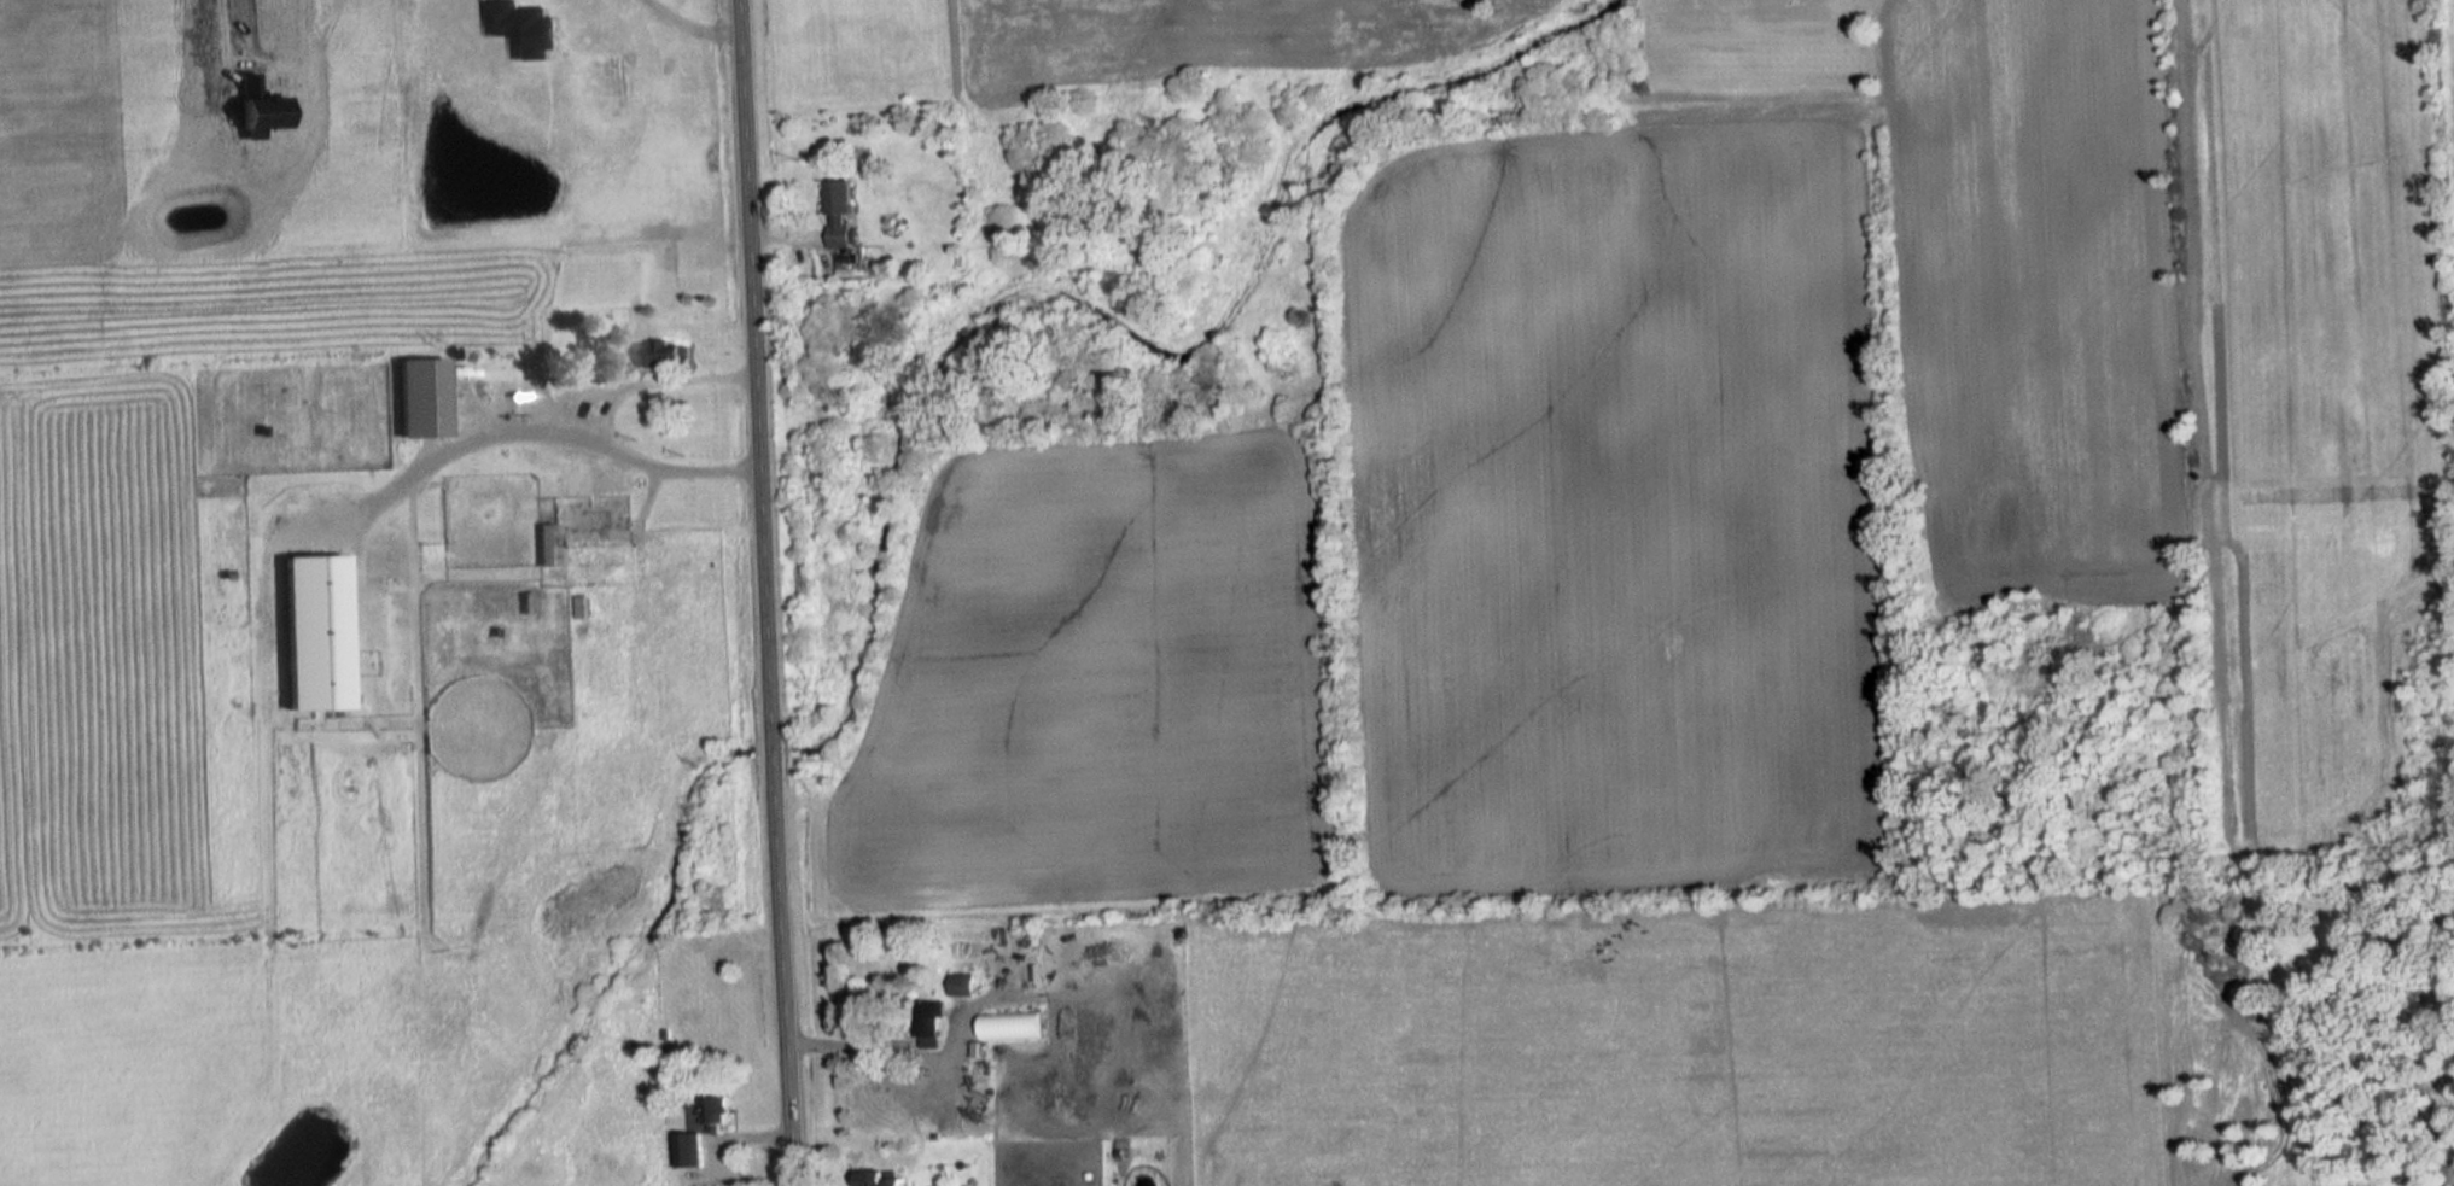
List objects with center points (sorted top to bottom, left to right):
road: (701, 10)
building: (548, 23)
road: (191, 36)
building: (835, 198)
building: (663, 355)
building: (421, 398)
road: (581, 409)
road: (763, 592)
building: (526, 604)
building: (581, 607)
building: (314, 632)
building: (961, 985)
building: (927, 1024)
building: (984, 1036)
road: (855, 1050)
building: (699, 1137)
building: (879, 1178)

